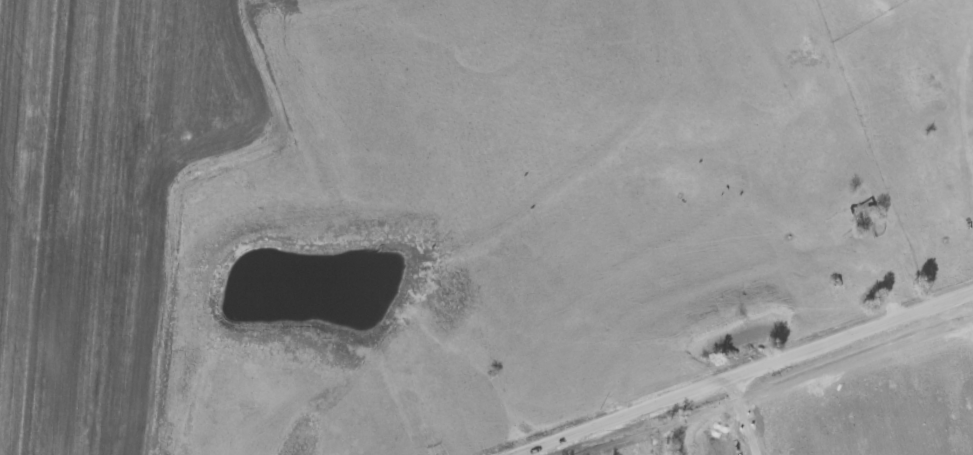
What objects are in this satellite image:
road: (743, 372)

